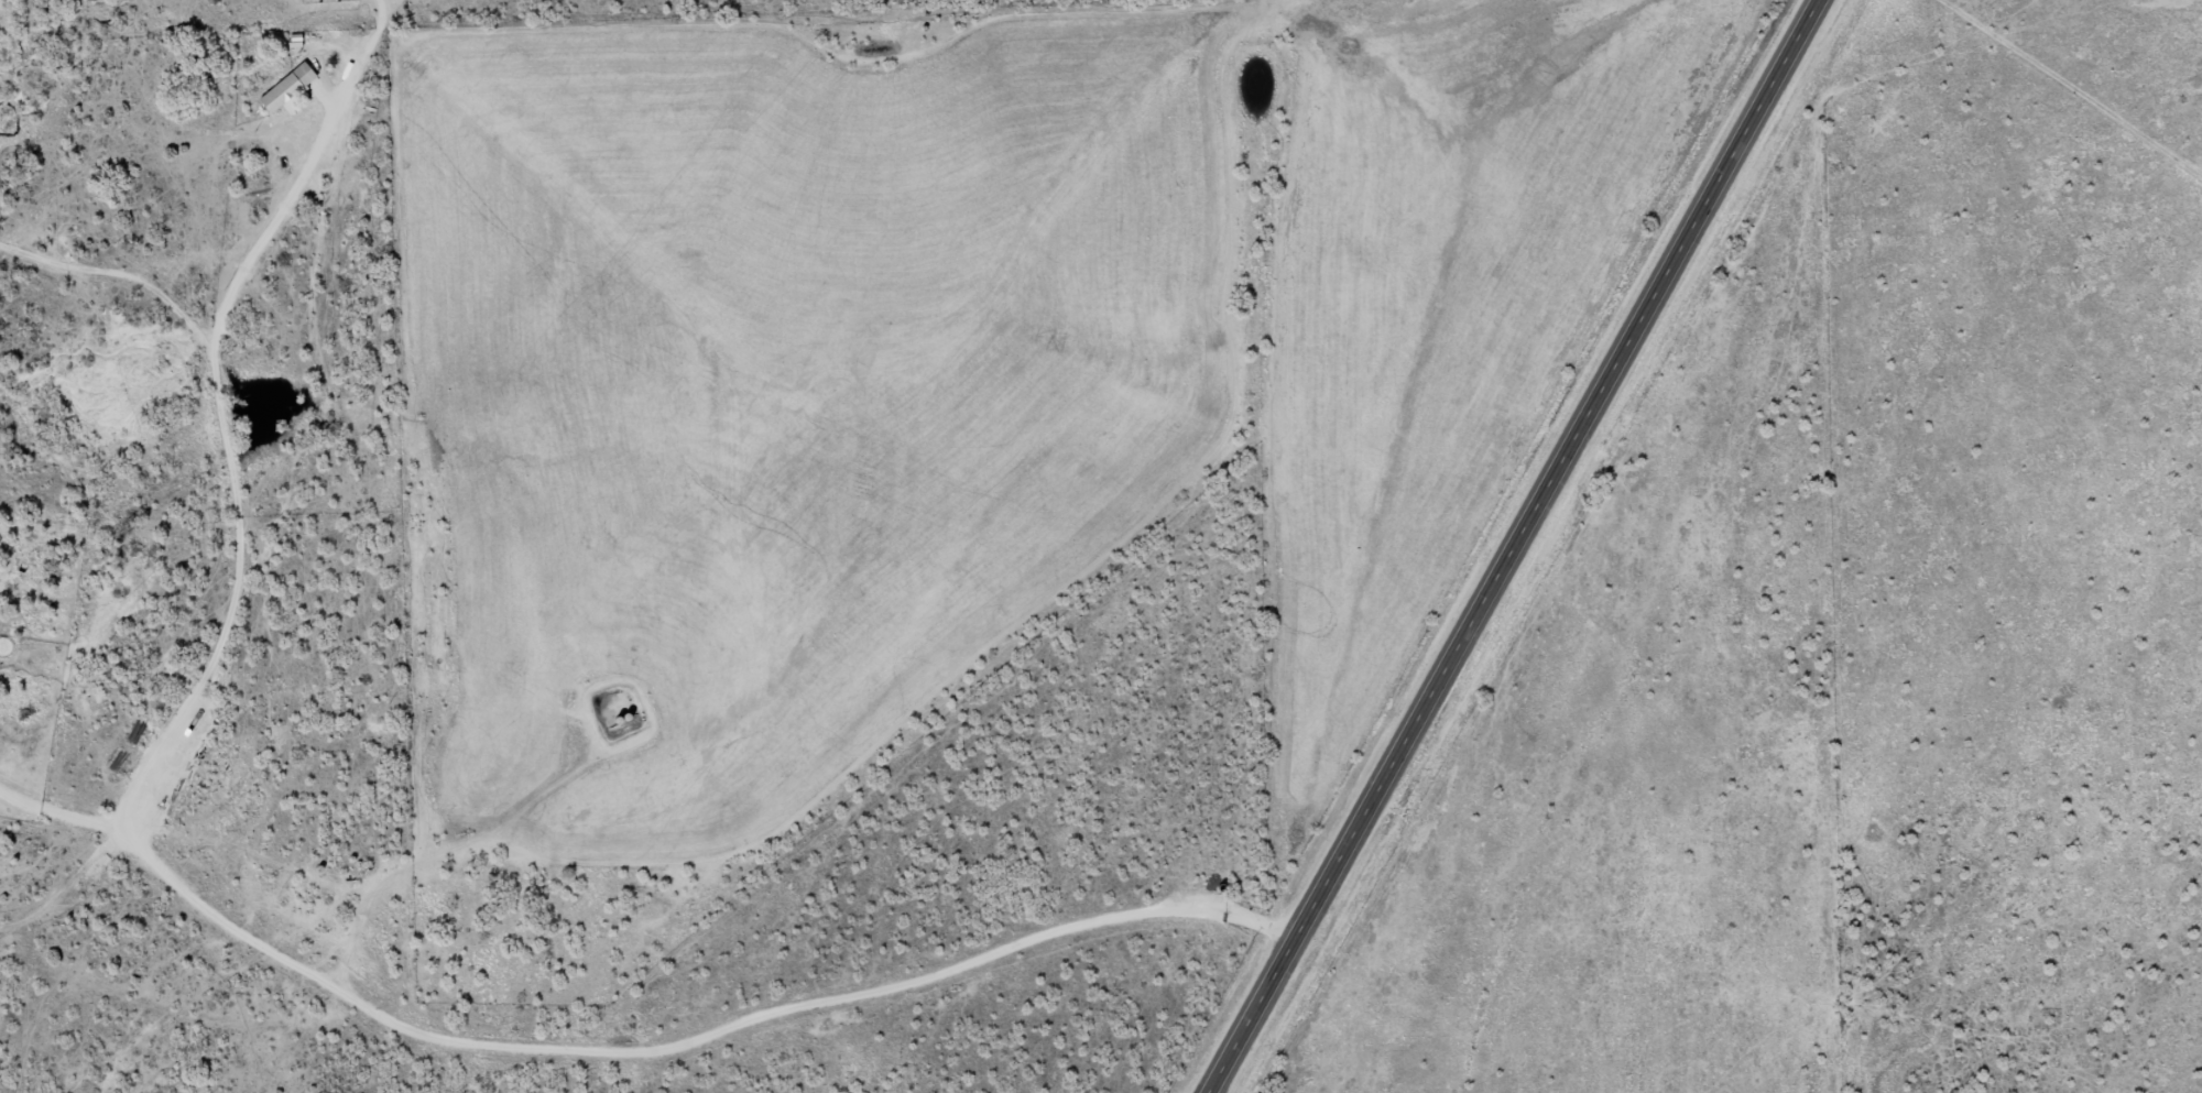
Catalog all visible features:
road: (265, 51)
road: (2073, 79)
building: (288, 90)
road: (340, 425)
road: (1512, 546)
road: (624, 1037)

